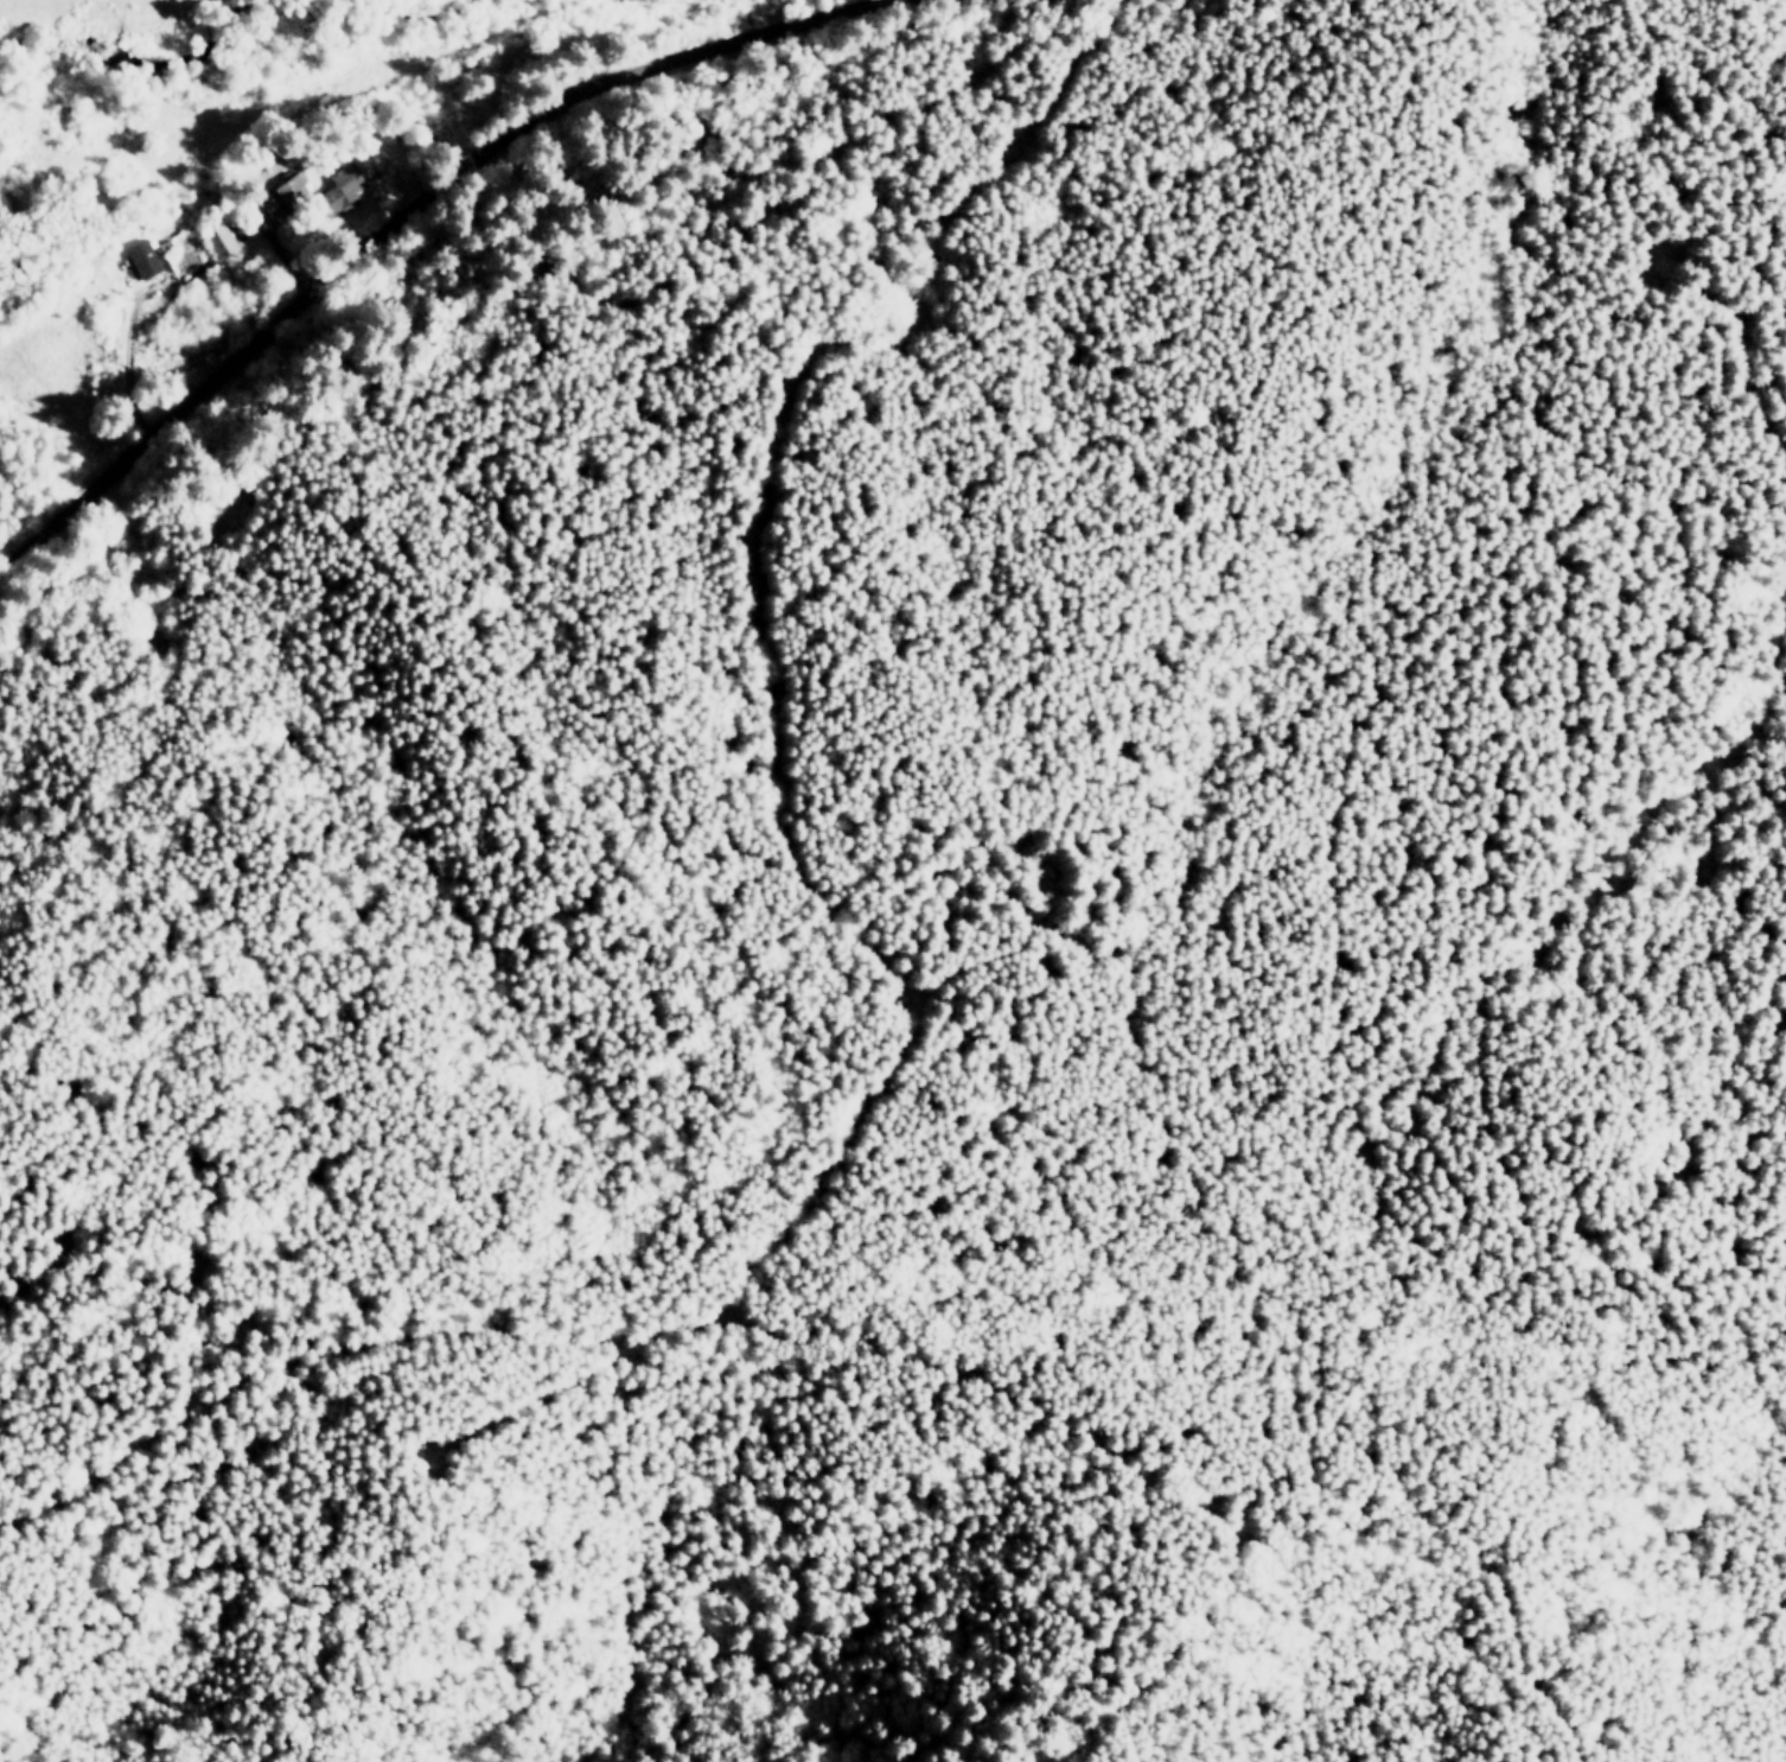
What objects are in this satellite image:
building: (343, 185)
road: (400, 214)
road: (757, 631)
road: (764, 1334)
road: (521, 1405)

